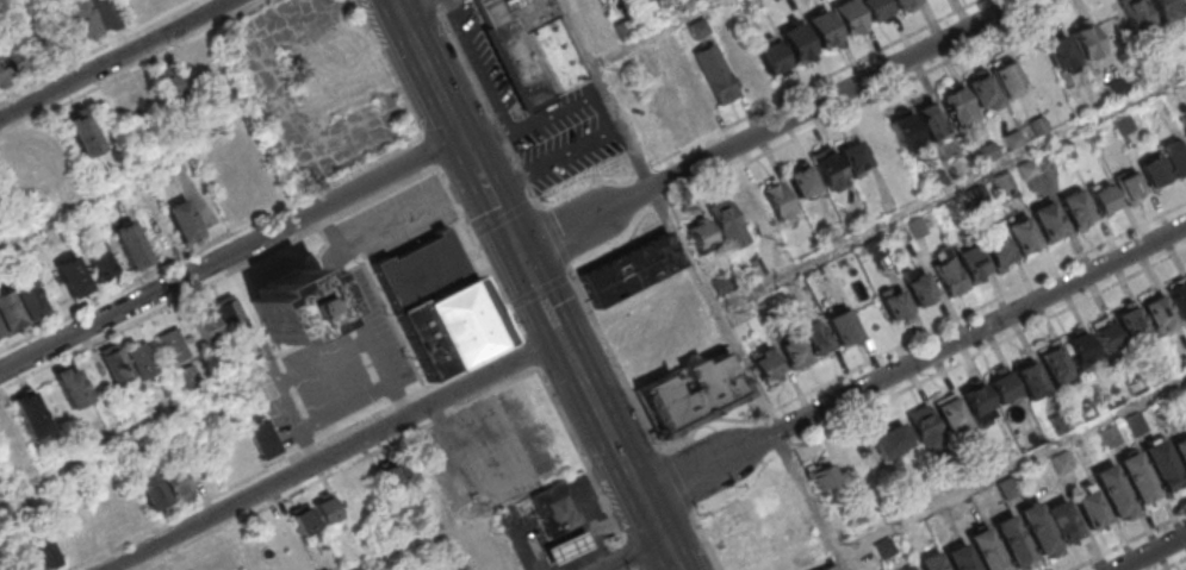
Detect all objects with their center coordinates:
building: (697, 0)
building: (580, 4)
road: (411, 5)
building: (904, 5)
road: (454, 6)
building: (1166, 10)
building: (875, 12)
building: (92, 18)
building: (1137, 19)
building: (849, 21)
building: (696, 30)
building: (822, 33)
building: (1083, 37)
building: (533, 45)
building: (797, 46)
building: (1182, 52)
building: (1058, 54)
road: (116, 59)
building: (770, 61)
building: (13, 62)
road: (427, 67)
building: (743, 68)
building: (714, 75)
road: (816, 83)
building: (167, 84)
building: (1116, 87)
parking lot: (315, 88)
building: (981, 88)
building: (694, 96)
building: (665, 102)
road: (868, 104)
building: (956, 107)
parking lot: (541, 115)
building: (930, 120)
building: (1122, 124)
road: (774, 129)
building: (905, 129)
building: (1185, 131)
building: (82, 132)
building: (852, 154)
building: (1175, 157)
building: (825, 164)
road: (272, 170)
building: (1155, 170)
building: (801, 177)
road: (124, 183)
building: (1129, 183)
road: (951, 192)
road: (489, 195)
building: (1103, 198)
building: (765, 205)
building: (1075, 205)
building: (1045, 218)
building: (726, 226)
building: (170, 227)
building: (1020, 232)
building: (698, 236)
building: (130, 245)
building: (996, 250)
road: (229, 253)
traffic signals: (519, 255)
building: (101, 257)
building: (970, 262)
building: (628, 269)
building: (949, 275)
building: (72, 277)
road: (578, 284)
road: (702, 284)
building: (919, 288)
building: (1178, 296)
building: (894, 302)
building: (437, 303)
building: (291, 305)
road: (355, 305)
building: (19, 307)
building: (1154, 308)
building: (216, 318)
building: (1130, 321)
building: (843, 327)
road: (924, 334)
building: (1104, 334)
building: (172, 344)
building: (803, 344)
building: (1078, 345)
road: (987, 349)
building: (142, 361)
building: (114, 362)
road: (913, 362)
building: (764, 365)
building: (1054, 365)
building: (1026, 372)
road: (390, 375)
building: (1000, 384)
building: (70, 386)
building: (691, 395)
building: (973, 396)
road: (348, 405)
building: (948, 409)
road: (597, 412)
building: (30, 414)
building: (924, 427)
road: (119, 437)
building: (262, 437)
building: (888, 438)
building: (1180, 451)
road: (333, 452)
building: (1161, 463)
road: (1011, 464)
building: (392, 476)
building: (1136, 476)
building: (821, 477)
building: (176, 486)
building: (1111, 489)
building: (151, 490)
building: (1089, 506)
building: (554, 508)
building: (313, 514)
building: (1061, 520)
building: (1036, 527)
building: (1011, 540)
road: (1126, 540)
building: (569, 546)
road: (395, 550)
building: (985, 550)
road: (1149, 551)
building: (46, 553)
road: (632, 555)
building: (958, 559)
building: (930, 562)
road: (1175, 564)
building: (833, 569)

